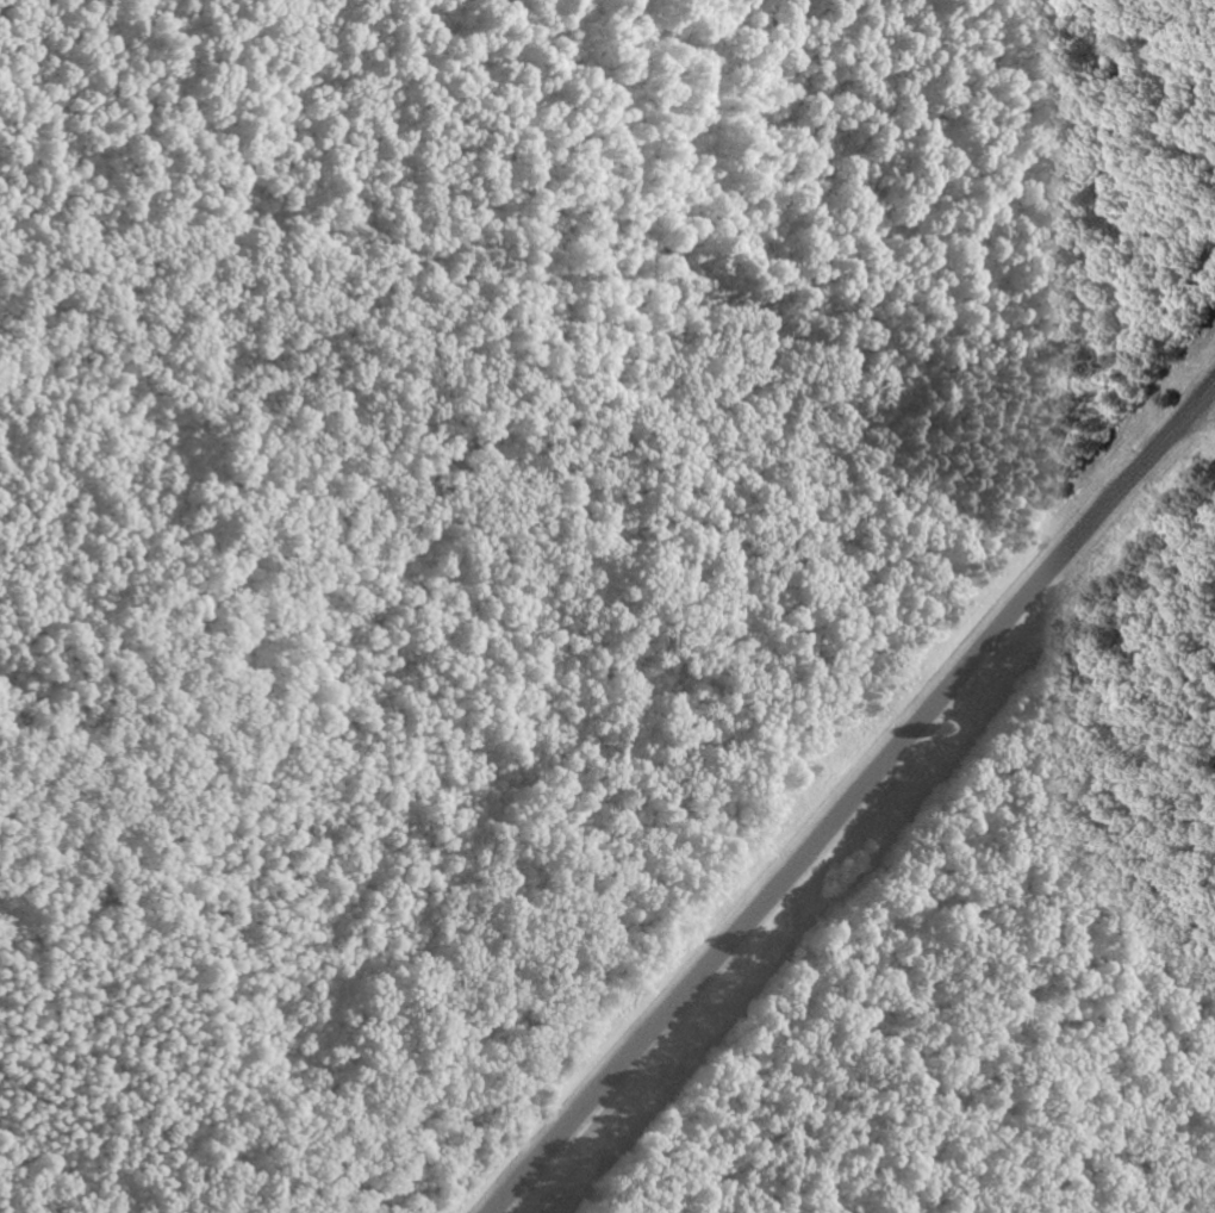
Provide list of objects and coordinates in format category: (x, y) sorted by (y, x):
road: (1200, 429)
road: (855, 798)

